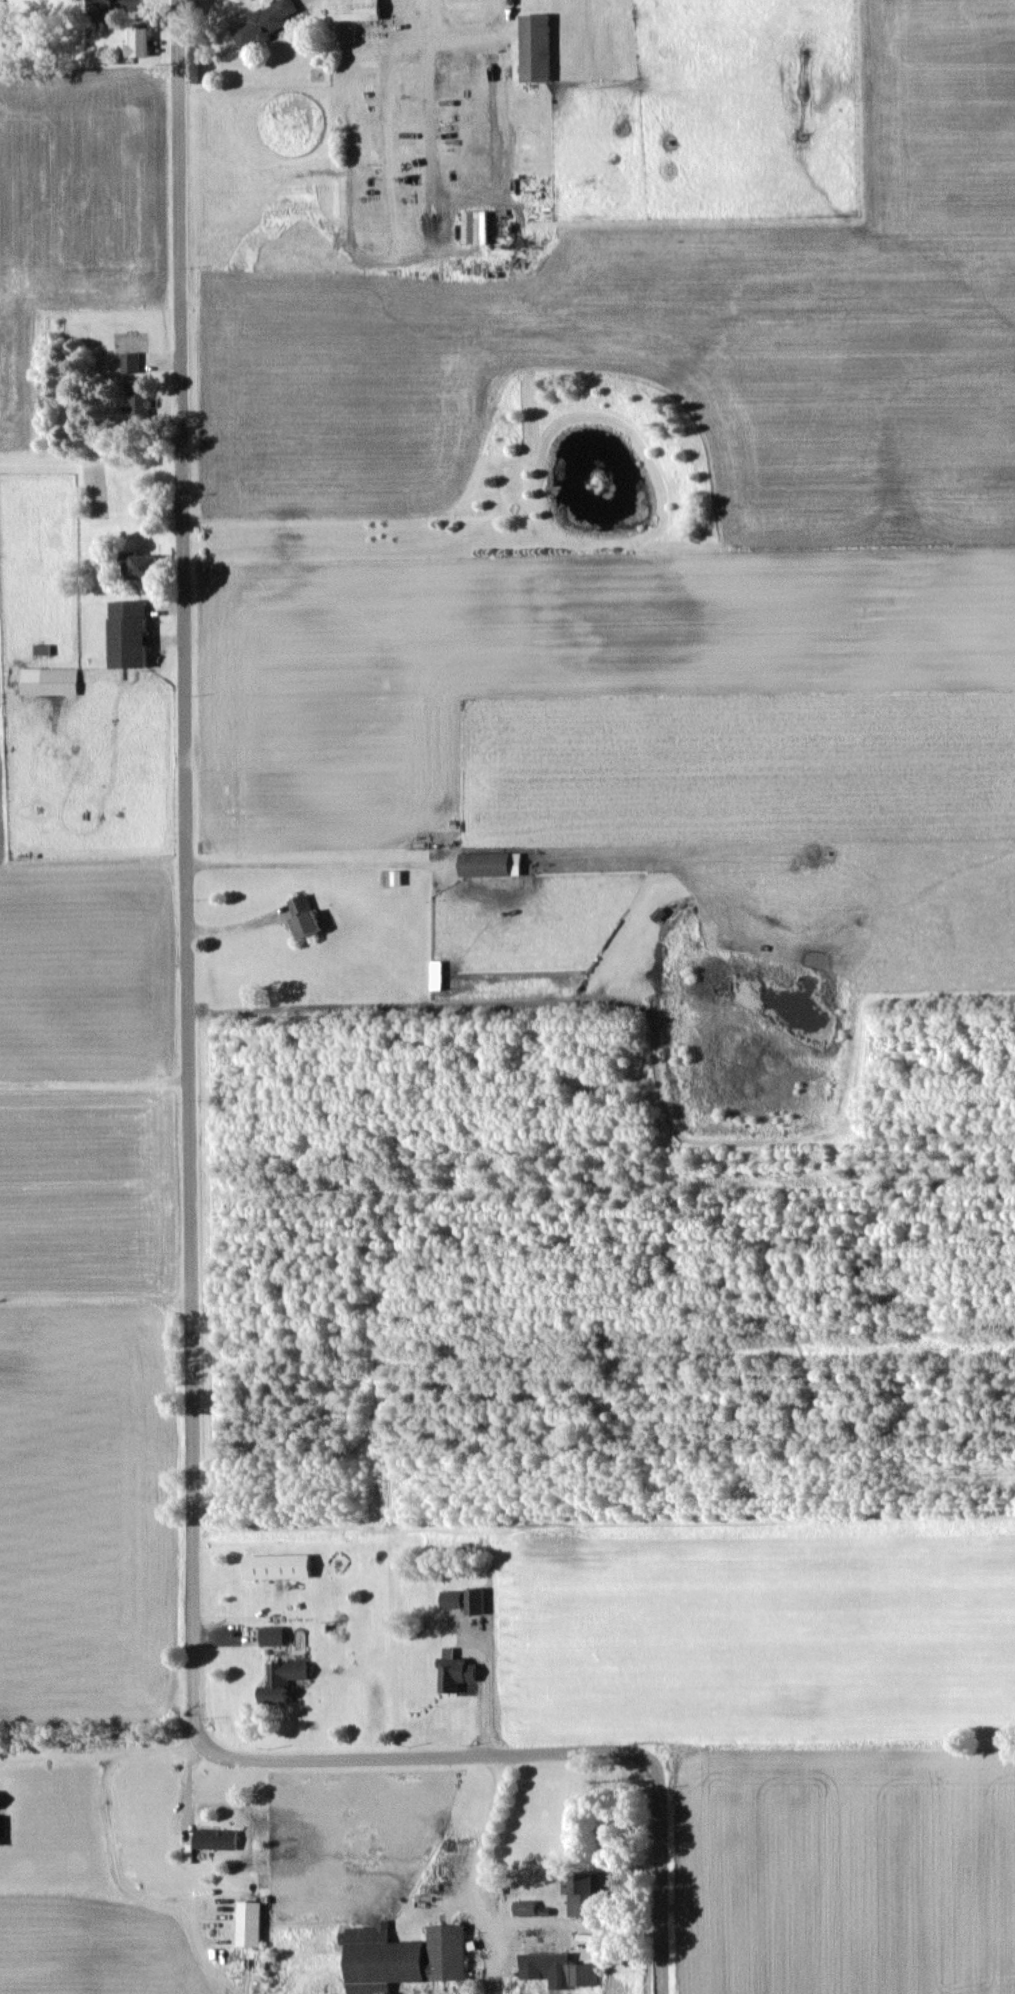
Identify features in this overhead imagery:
building: (117, 4)
building: (354, 9)
building: (263, 22)
road: (465, 33)
building: (138, 41)
building: (536, 47)
road: (428, 111)
building: (475, 226)
building: (130, 361)
building: (138, 398)
building: (145, 566)
building: (129, 633)
building: (49, 680)
road: (302, 863)
building: (490, 863)
building: (305, 914)
road: (238, 918)
road: (490, 1003)
road: (188, 1220)
building: (278, 1565)
building: (452, 1598)
building: (474, 1600)
building: (272, 1635)
building: (454, 1671)
building: (284, 1679)
road: (100, 1748)
building: (1, 1829)
building: (215, 1838)
road: (473, 1875)
road: (131, 1892)
building: (579, 1892)
building: (524, 1907)
building: (249, 1923)
building: (402, 1956)
building: (558, 1969)

